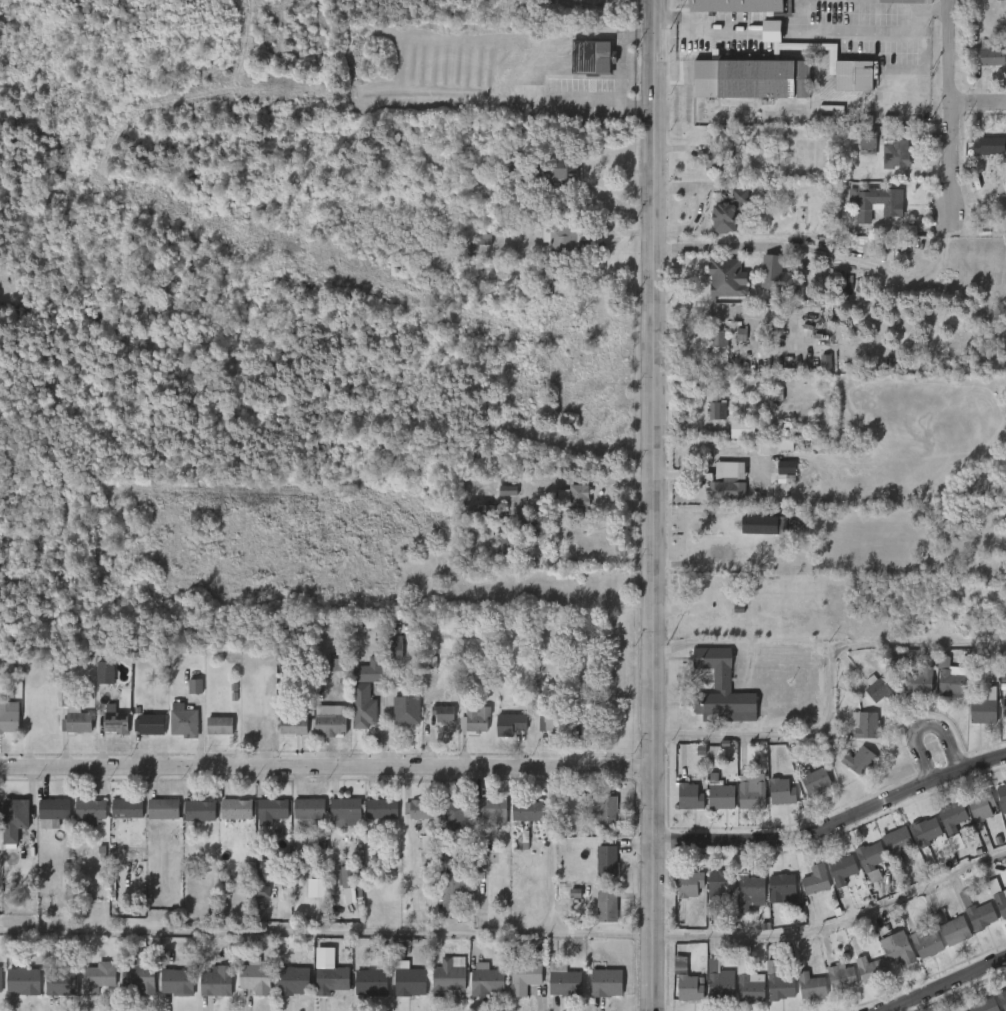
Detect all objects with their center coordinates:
road: (920, 4)
building: (744, 6)
road: (934, 8)
road: (709, 29)
road: (774, 30)
road: (793, 30)
building: (773, 31)
road: (846, 32)
building: (989, 55)
building: (593, 56)
building: (844, 67)
building: (747, 76)
road: (910, 108)
road: (948, 109)
road: (977, 109)
building: (866, 142)
building: (990, 145)
building: (895, 151)
building: (711, 157)
building: (552, 171)
building: (512, 181)
building: (878, 201)
road: (698, 205)
building: (731, 211)
road: (946, 228)
building: (480, 239)
building: (565, 240)
road: (741, 247)
building: (775, 276)
building: (724, 278)
road: (899, 278)
building: (741, 335)
building: (717, 339)
building: (826, 363)
building: (774, 396)
building: (717, 411)
building: (739, 429)
building: (770, 445)
building: (783, 470)
road: (590, 479)
building: (725, 480)
building: (508, 490)
building: (574, 500)
road: (653, 505)
building: (474, 511)
building: (757, 524)
building: (512, 539)
road: (536, 541)
building: (715, 592)
building: (373, 623)
road: (783, 644)
building: (395, 647)
building: (374, 669)
building: (104, 675)
building: (950, 675)
building: (921, 682)
building: (195, 686)
road: (828, 688)
building: (880, 688)
building: (720, 689)
building: (1003, 706)
building: (364, 708)
building: (982, 708)
building: (405, 709)
building: (440, 713)
building: (8, 717)
building: (75, 717)
building: (587, 718)
building: (476, 719)
building: (552, 719)
building: (330, 720)
building: (115, 721)
building: (183, 721)
building: (149, 725)
building: (223, 725)
building: (296, 725)
building: (511, 725)
building: (866, 726)
building: (858, 760)
road: (326, 766)
building: (812, 779)
building: (1005, 782)
building: (779, 791)
building: (748, 792)
building: (718, 794)
building: (687, 796)
building: (1001, 798)
building: (453, 806)
building: (980, 806)
building: (127, 807)
building: (163, 808)
building: (236, 808)
building: (347, 808)
building: (382, 808)
building: (272, 809)
building: (415, 809)
building: (527, 809)
building: (200, 810)
building: (312, 810)
building: (492, 810)
building: (604, 810)
building: (53, 811)
building: (90, 811)
building: (951, 817)
building: (12, 820)
road: (833, 823)
building: (924, 830)
building: (427, 838)
building: (528, 840)
building: (896, 841)
road: (550, 850)
building: (870, 859)
building: (607, 860)
building: (261, 869)
building: (841, 870)
building: (65, 880)
building: (815, 881)
building: (348, 883)
building: (691, 884)
building: (722, 884)
building: (782, 885)
building: (262, 892)
building: (453, 892)
building: (752, 892)
building: (997, 895)
building: (607, 906)
building: (978, 913)
building: (952, 928)
road: (325, 933)
road: (834, 937)
building: (926, 944)
building: (896, 947)
building: (782, 950)
building: (870, 969)
building: (138, 975)
building: (99, 976)
building: (256, 976)
building: (838, 976)
building: (0, 977)
building: (448, 977)
building: (525, 977)
building: (332, 978)
building: (488, 979)
building: (23, 980)
building: (62, 980)
building: (293, 980)
building: (410, 980)
building: (718, 980)
building: (178, 981)
building: (217, 981)
building: (565, 981)
building: (608, 981)
building: (372, 982)
building: (809, 986)
road: (945, 986)
building: (690, 987)
building: (749, 987)
building: (779, 987)
building: (1005, 991)
building: (1001, 999)
building: (982, 1005)

